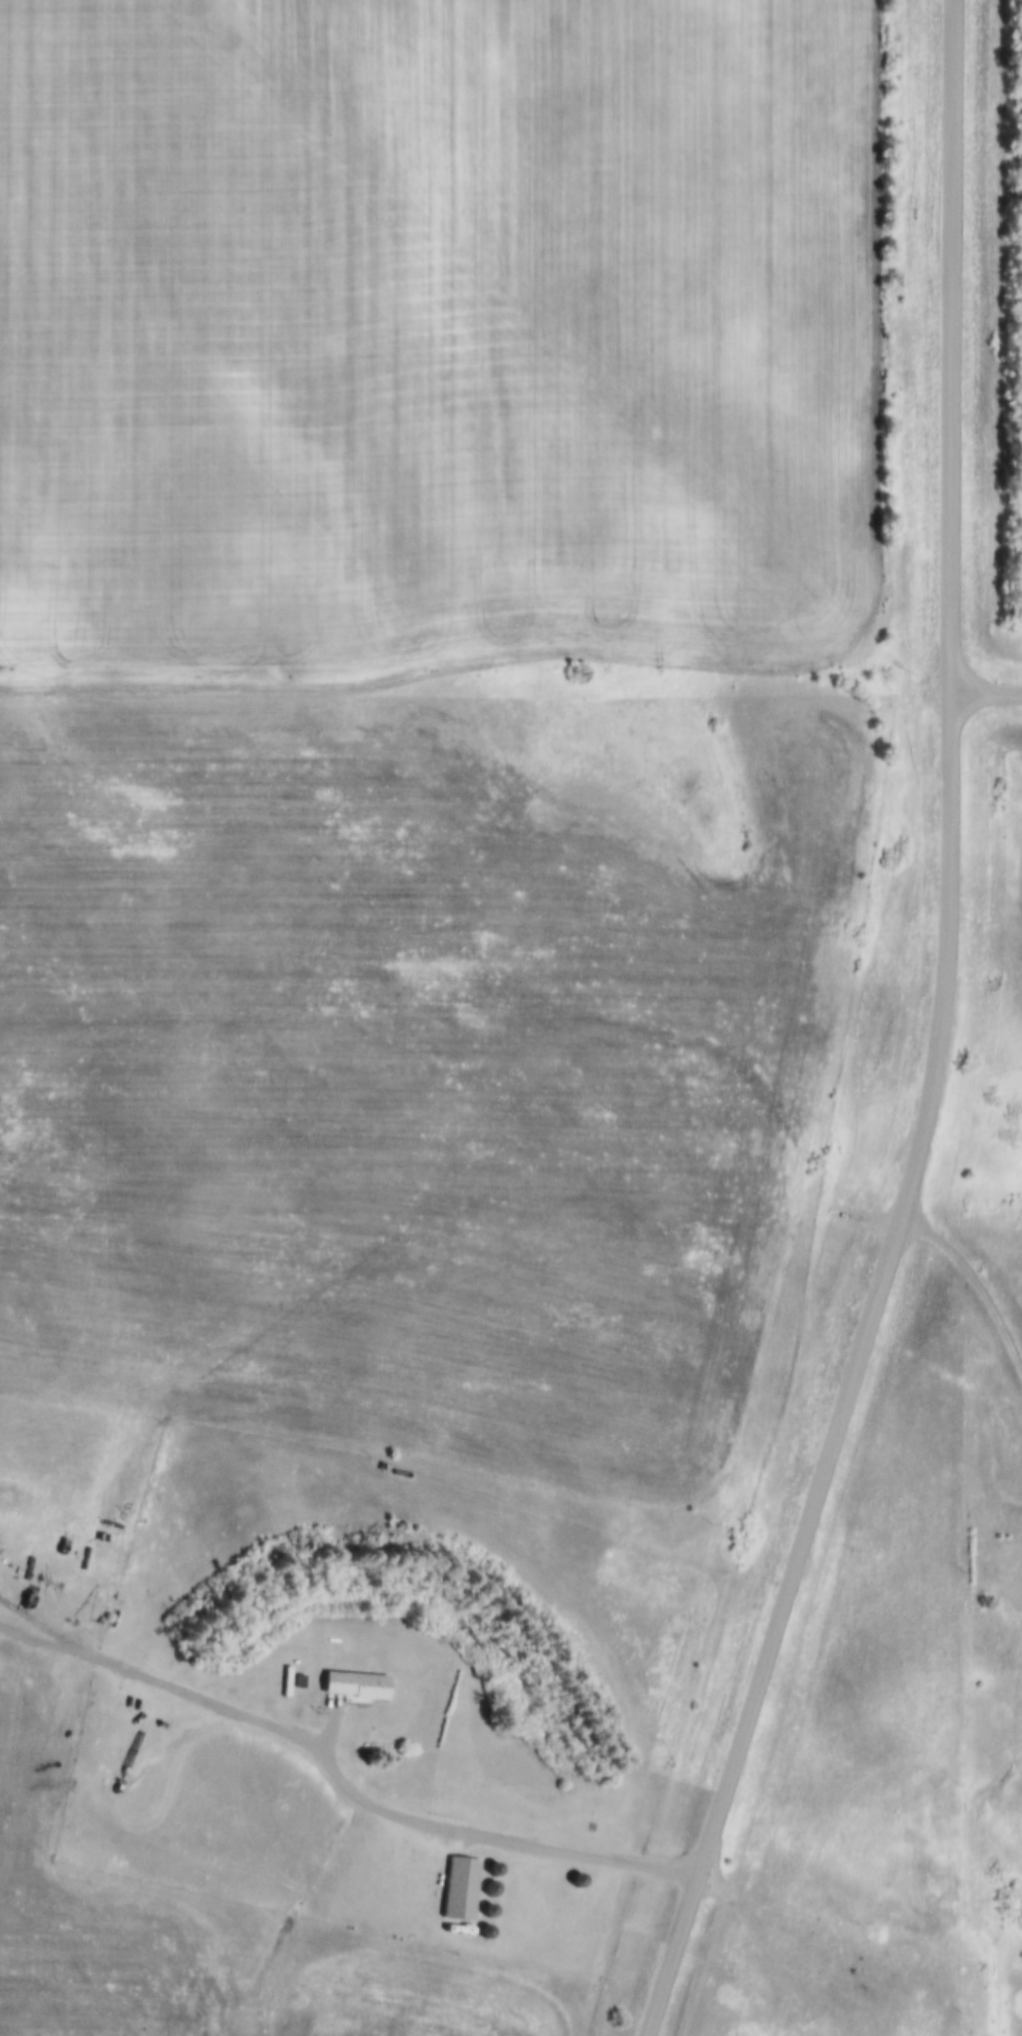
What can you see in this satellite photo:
road: (954, 348)
road: (987, 696)
road: (972, 1280)
road: (856, 1376)
building: (363, 1678)
road: (166, 1687)
road: (476, 1837)
building: (501, 1863)
silo: (501, 1863)
building: (584, 1873)
silo: (584, 1873)
building: (576, 1880)
building: (468, 1881)
building: (498, 1883)
silo: (498, 1883)
building: (492, 1889)
building: (496, 1904)
silo: (496, 1904)
building: (493, 1925)
silo: (493, 1925)

